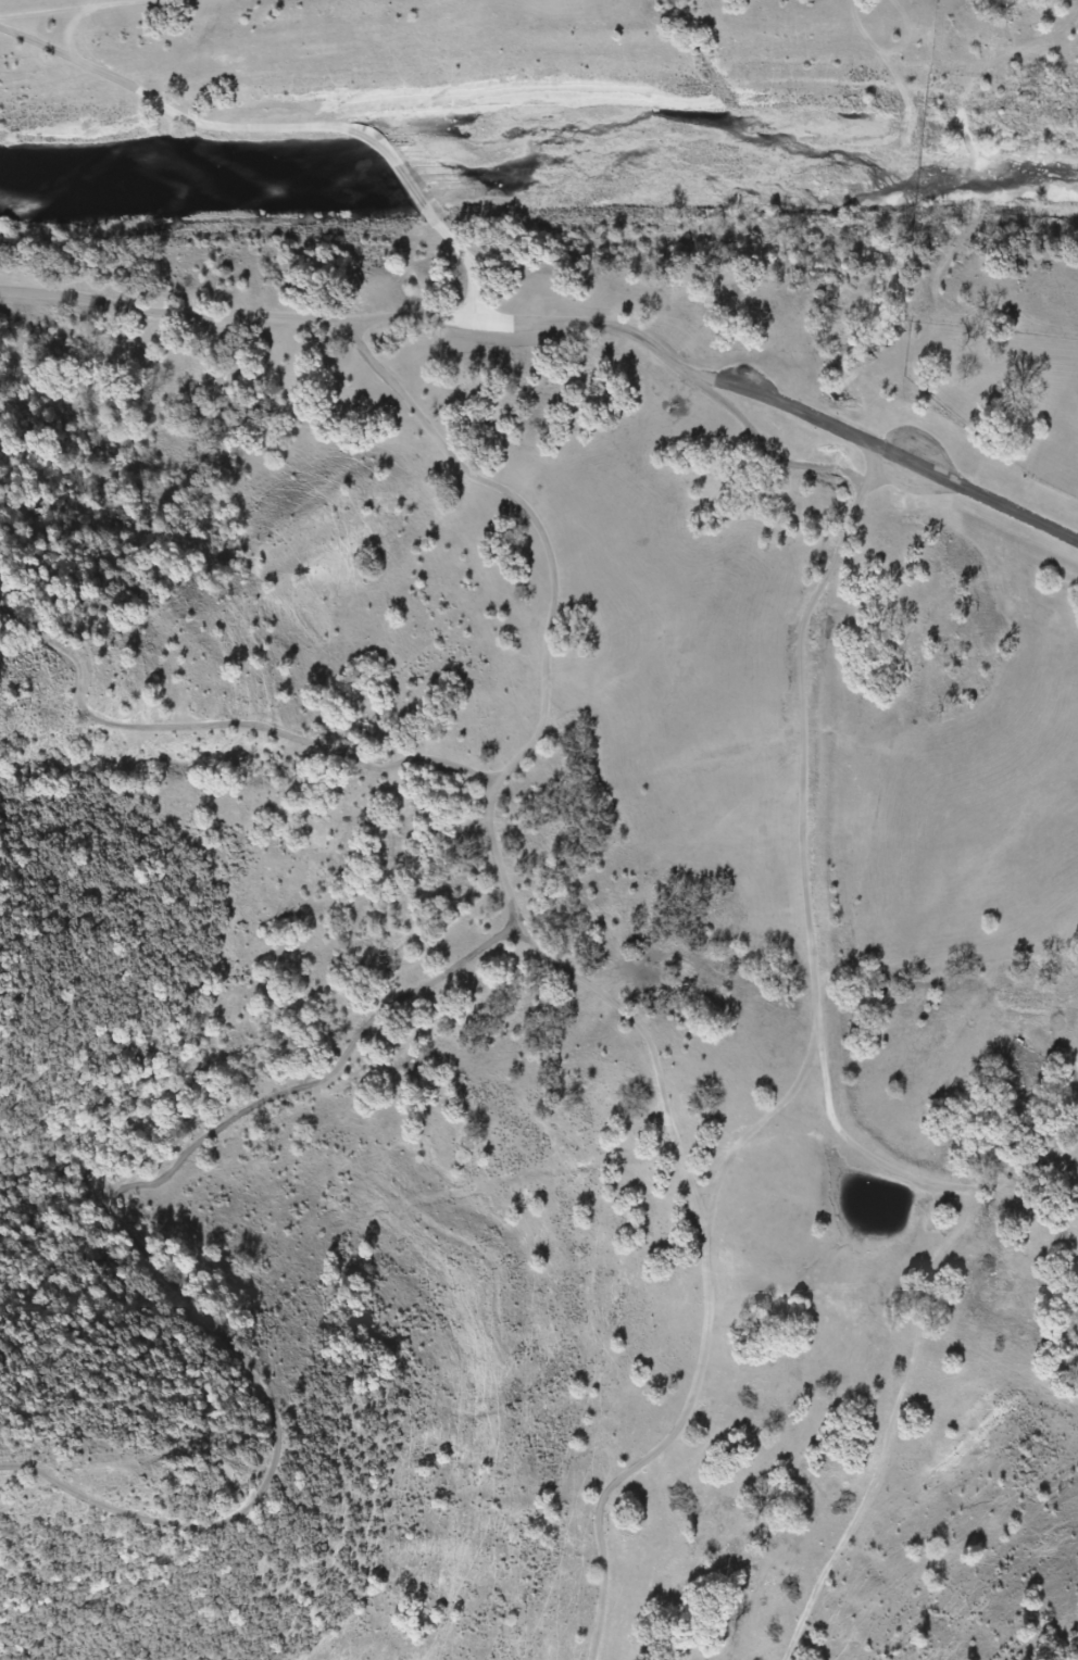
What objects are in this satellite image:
river: (539, 156)
airport runway: (922, 463)
road: (955, 947)
road: (801, 1078)

